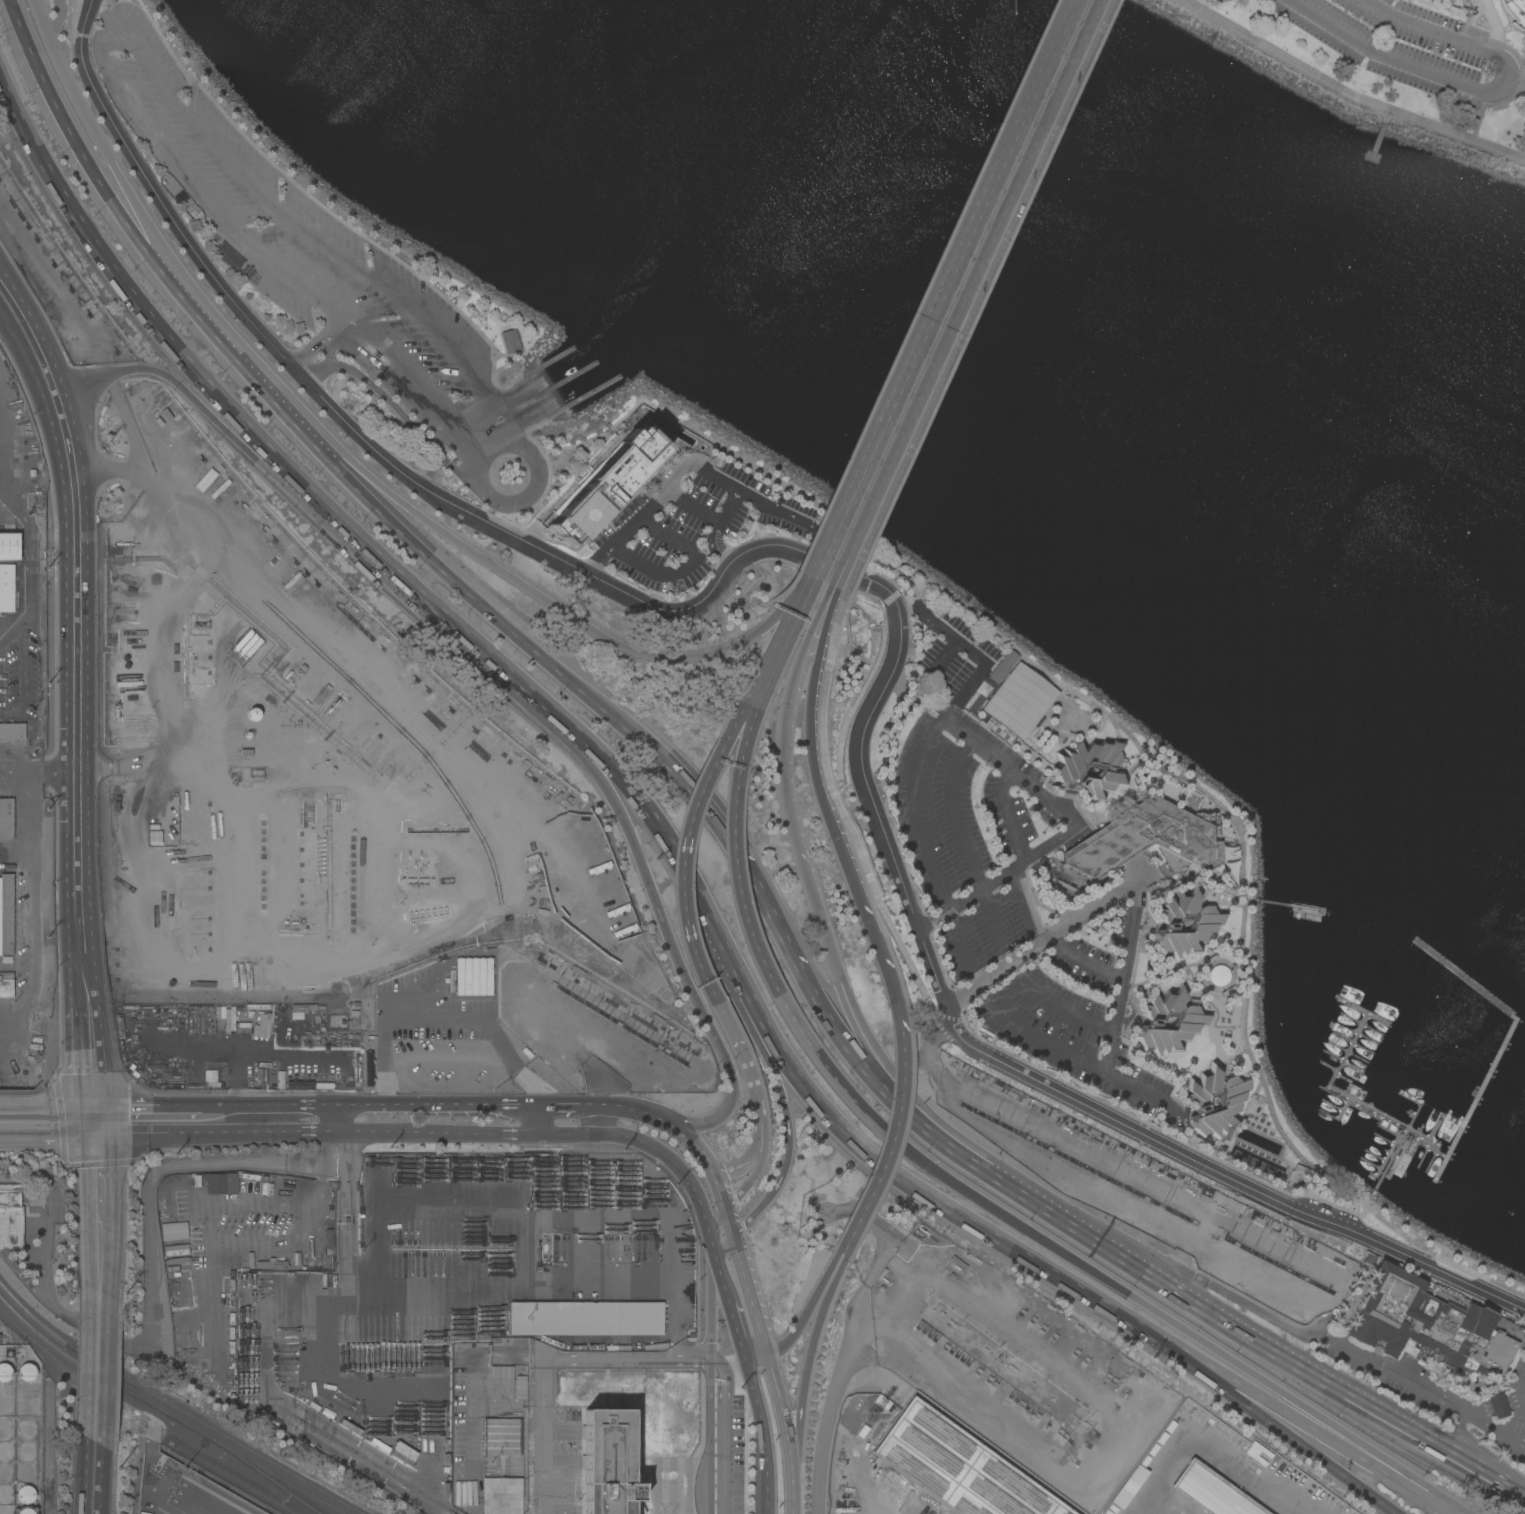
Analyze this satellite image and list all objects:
road: (1223, 0)
building: (1515, 12)
road: (20, 25)
parking lot: (1399, 43)
park: (1390, 64)
road: (1521, 78)
road: (1517, 81)
road: (1480, 89)
road: (1347, 93)
road: (1379, 133)
road: (210, 143)
pier: (1374, 146)
road: (107, 155)
road: (98, 185)
road: (208, 268)
river: (1050, 271)
road: (974, 280)
road: (945, 287)
road: (4, 291)
road: (979, 296)
road: (138, 303)
road: (338, 333)
building: (510, 341)
road: (35, 345)
road: (325, 347)
road: (234, 366)
road: (386, 401)
road: (195, 402)
road: (129, 425)
building: (633, 458)
road: (431, 471)
road: (541, 495)
road: (655, 495)
road: (527, 501)
road: (689, 503)
road: (712, 528)
road: (838, 538)
road: (869, 539)
building: (10, 546)
road: (684, 568)
road: (837, 573)
road: (840, 575)
road: (830, 578)
road: (811, 580)
road: (792, 581)
building: (7, 588)
road: (904, 590)
road: (475, 594)
road: (540, 594)
road: (276, 611)
road: (440, 617)
road: (844, 617)
road: (792, 621)
building: (1004, 667)
road: (751, 697)
road: (77, 698)
building: (1021, 702)
road: (855, 704)
road: (757, 707)
building: (254, 714)
road: (782, 718)
building: (1076, 722)
road: (932, 727)
building: (12, 731)
road: (810, 746)
building: (1090, 768)
road: (38, 773)
road: (1000, 793)
road: (953, 814)
building: (6, 819)
road: (655, 824)
building: (154, 837)
building: (1143, 840)
road: (1047, 850)
road: (891, 858)
road: (682, 861)
road: (736, 870)
road: (998, 879)
building: (1215, 896)
road: (966, 901)
road: (1024, 906)
road: (28, 911)
building: (6, 914)
road: (995, 917)
road: (933, 921)
building: (1184, 924)
road: (1040, 940)
road: (671, 947)
road: (962, 948)
road: (878, 950)
road: (790, 958)
road: (1087, 964)
building: (473, 977)
road: (1121, 983)
building: (6, 985)
road: (848, 1006)
building: (303, 1007)
road: (1065, 1009)
building: (354, 1018)
road: (443, 1018)
road: (725, 1019)
building: (1168, 1022)
building: (261, 1026)
road: (808, 1047)
road: (961, 1052)
road: (1081, 1062)
road: (93, 1070)
road: (748, 1071)
road: (779, 1091)
building: (1214, 1101)
road: (48, 1104)
road: (563, 1104)
road: (597, 1104)
traffic signals: (96, 1105)
road: (149, 1105)
road: (273, 1105)
road: (445, 1105)
road: (639, 1110)
road: (345, 1118)
road: (545, 1120)
road: (894, 1127)
road: (221, 1133)
road: (49, 1134)
traffic signals: (98, 1135)
road: (590, 1135)
road: (691, 1142)
road: (754, 1147)
road: (761, 1157)
road: (317, 1167)
road: (892, 1174)
building: (1294, 1176)
building: (191, 1182)
building: (233, 1182)
building: (218, 1183)
road: (717, 1189)
road: (347, 1207)
building: (167, 1211)
building: (11, 1217)
road: (99, 1221)
road: (717, 1221)
road: (729, 1223)
building: (174, 1231)
road: (207, 1234)
building: (329, 1238)
road: (846, 1244)
building: (176, 1247)
road: (726, 1250)
building: (272, 1263)
road: (1488, 1280)
road: (510, 1285)
road: (1181, 1290)
road: (750, 1295)
road: (1242, 1302)
road: (810, 1304)
road: (708, 1310)
railway: (31, 1315)
road: (1157, 1315)
building: (585, 1318)
road: (674, 1322)
building: (1436, 1328)
road: (738, 1331)
road: (756, 1355)
road: (706, 1359)
road: (473, 1368)
building: (502, 1371)
building: (5, 1372)
building: (27, 1372)
road: (805, 1373)
road: (98, 1374)
road: (1395, 1375)
railway: (121, 1381)
building: (521, 1387)
road: (1521, 1391)
road: (271, 1398)
road: (1521, 1400)
road: (1512, 1402)
road: (1499, 1406)
road: (1476, 1410)
railway: (166, 1412)
road: (828, 1414)
road: (1475, 1420)
road: (1270, 1422)
road: (1300, 1423)
railway: (214, 1429)
road: (787, 1432)
road: (1115, 1433)
road: (763, 1435)
building: (502, 1436)
road: (544, 1436)
road: (1205, 1446)
building: (609, 1465)
building: (958, 1466)
road: (1477, 1467)
street lamp: (186, 1469)
road: (1478, 1471)
railway: (260, 1473)
road: (96, 1477)
building: (639, 1477)
railway: (235, 1479)
building: (1212, 1492)
building: (26, 1494)
building: (502, 1495)
railway: (211, 1500)
railway: (199, 1503)
railway: (187, 1508)
building: (26, 1511)
railway: (315, 1512)

